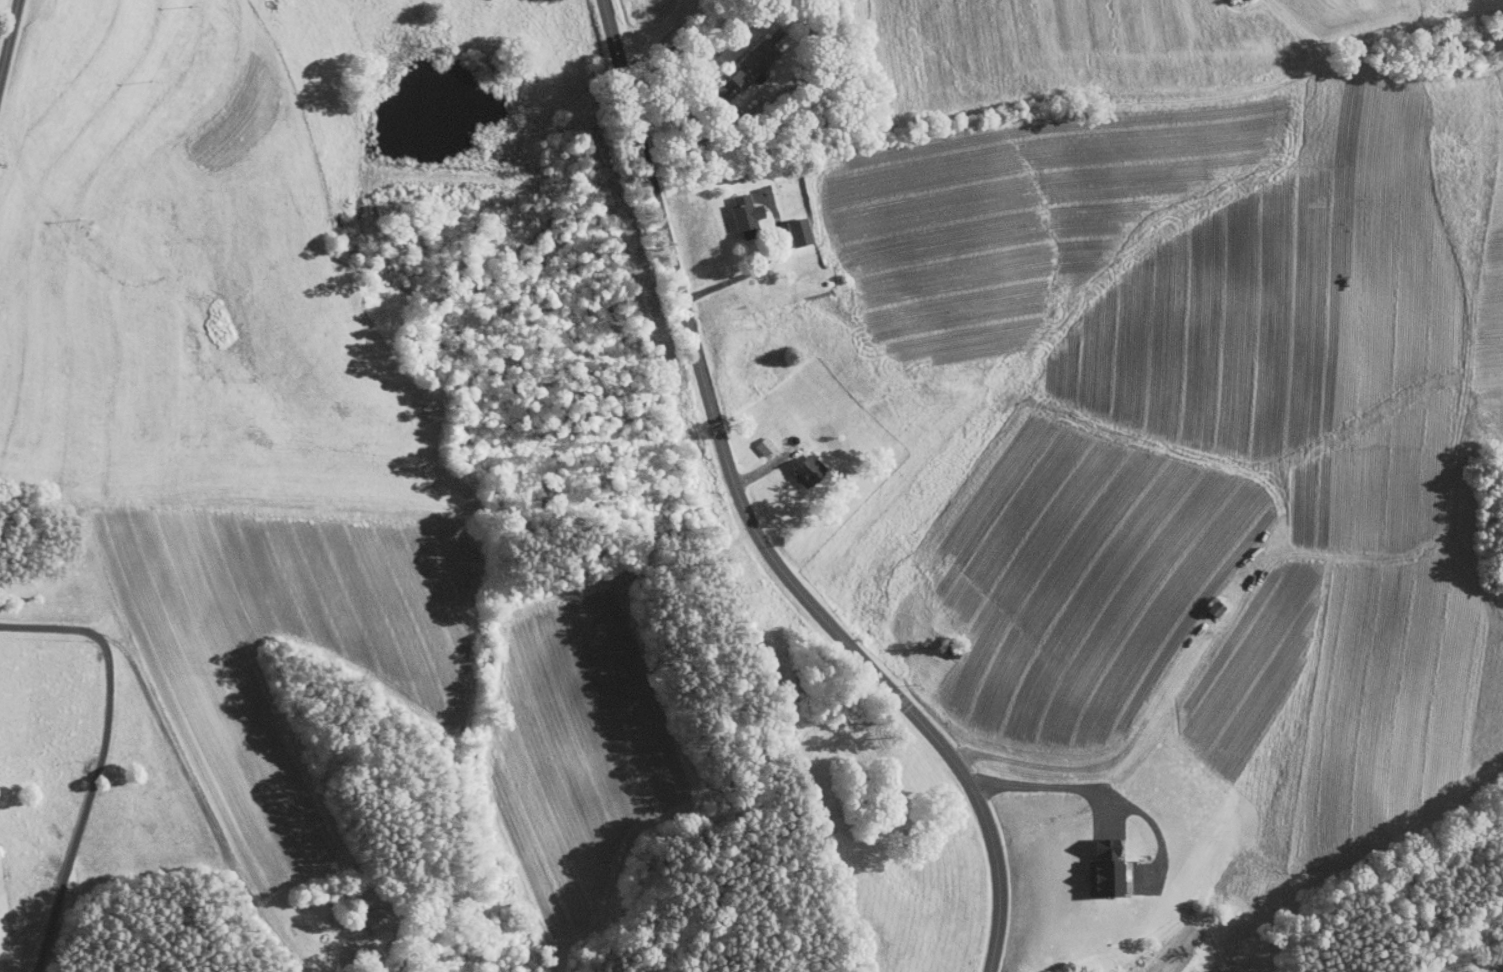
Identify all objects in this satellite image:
road: (1277, 9)
road: (10, 43)
road: (686, 46)
building: (746, 57)
building: (737, 209)
building: (790, 225)
road: (759, 266)
building: (755, 439)
building: (800, 464)
road: (752, 517)
road: (1101, 756)
road: (100, 759)
road: (1053, 786)
road: (199, 803)
building: (367, 914)

